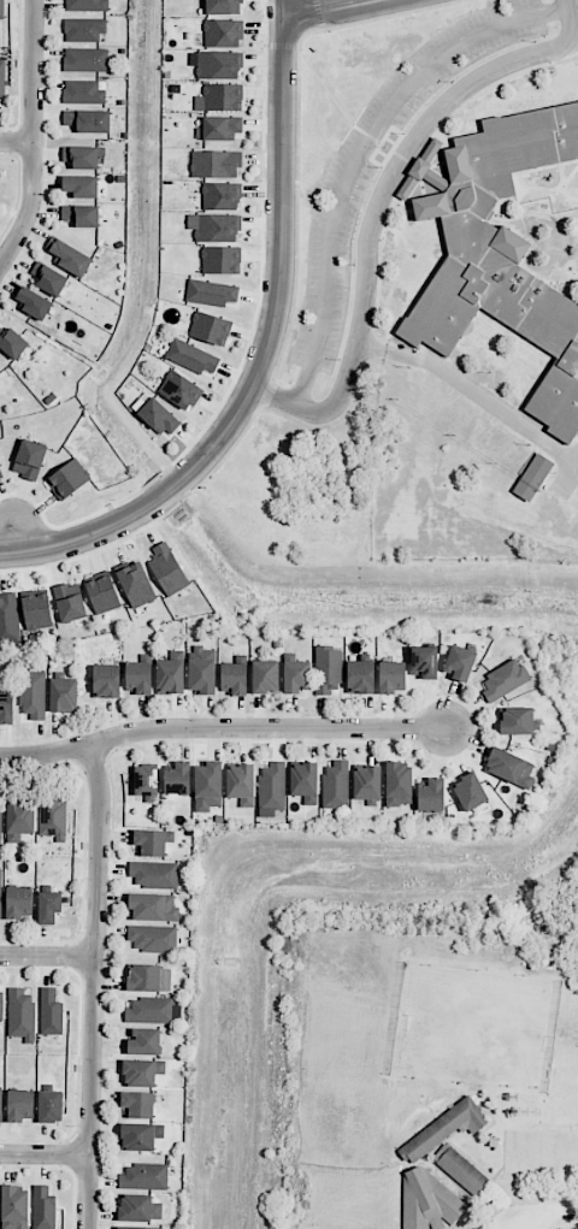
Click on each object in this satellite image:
building: (85, 5)
building: (223, 7)
road: (325, 8)
building: (1, 10)
building: (83, 30)
building: (223, 33)
building: (85, 60)
building: (218, 65)
building: (2, 78)
building: (83, 91)
building: (219, 98)
building: (88, 120)
building: (220, 128)
road: (34, 137)
road: (17, 142)
road: (360, 150)
building: (81, 156)
building: (216, 164)
building: (423, 171)
building: (81, 185)
building: (220, 196)
road: (381, 202)
building: (79, 214)
building: (214, 228)
building: (511, 248)
building: (69, 256)
building: (220, 260)
building: (48, 278)
building: (211, 293)
building: (34, 303)
building: (210, 329)
building: (11, 341)
road: (267, 344)
building: (190, 356)
road: (458, 385)
building: (179, 390)
building: (157, 414)
building: (29, 459)
building: (0, 474)
building: (532, 477)
building: (67, 479)
road: (14, 538)
road: (8, 555)
building: (167, 569)
building: (136, 584)
building: (102, 593)
building: (70, 602)
building: (36, 611)
building: (8, 618)
building: (424, 662)
building: (460, 662)
building: (202, 669)
building: (328, 669)
building: (171, 674)
building: (296, 675)
building: (265, 676)
building: (360, 676)
building: (393, 676)
building: (138, 678)
building: (234, 679)
building: (106, 680)
building: (503, 680)
building: (33, 695)
building: (64, 695)
building: (6, 707)
building: (517, 720)
road: (222, 728)
building: (509, 768)
building: (178, 778)
building: (146, 780)
building: (241, 782)
building: (305, 782)
building: (366, 782)
building: (399, 784)
building: (335, 785)
building: (208, 786)
building: (272, 786)
building: (470, 792)
building: (431, 794)
building: (0, 815)
building: (53, 817)
building: (19, 819)
building: (152, 843)
building: (154, 874)
building: (0, 897)
building: (18, 902)
building: (48, 906)
building: (153, 908)
building: (153, 938)
road: (48, 959)
building: (144, 977)
road: (95, 988)
building: (1, 1005)
building: (154, 1010)
building: (51, 1012)
building: (20, 1014)
building: (144, 1041)
building: (142, 1071)
building: (0, 1104)
building: (20, 1105)
building: (137, 1105)
building: (51, 1106)
building: (443, 1129)
building: (140, 1136)
road: (46, 1157)
building: (461, 1169)
building: (144, 1176)
building: (430, 1204)
building: (14, 1207)
building: (43, 1209)
building: (140, 1209)
road: (518, 1227)
building: (138, 1228)

